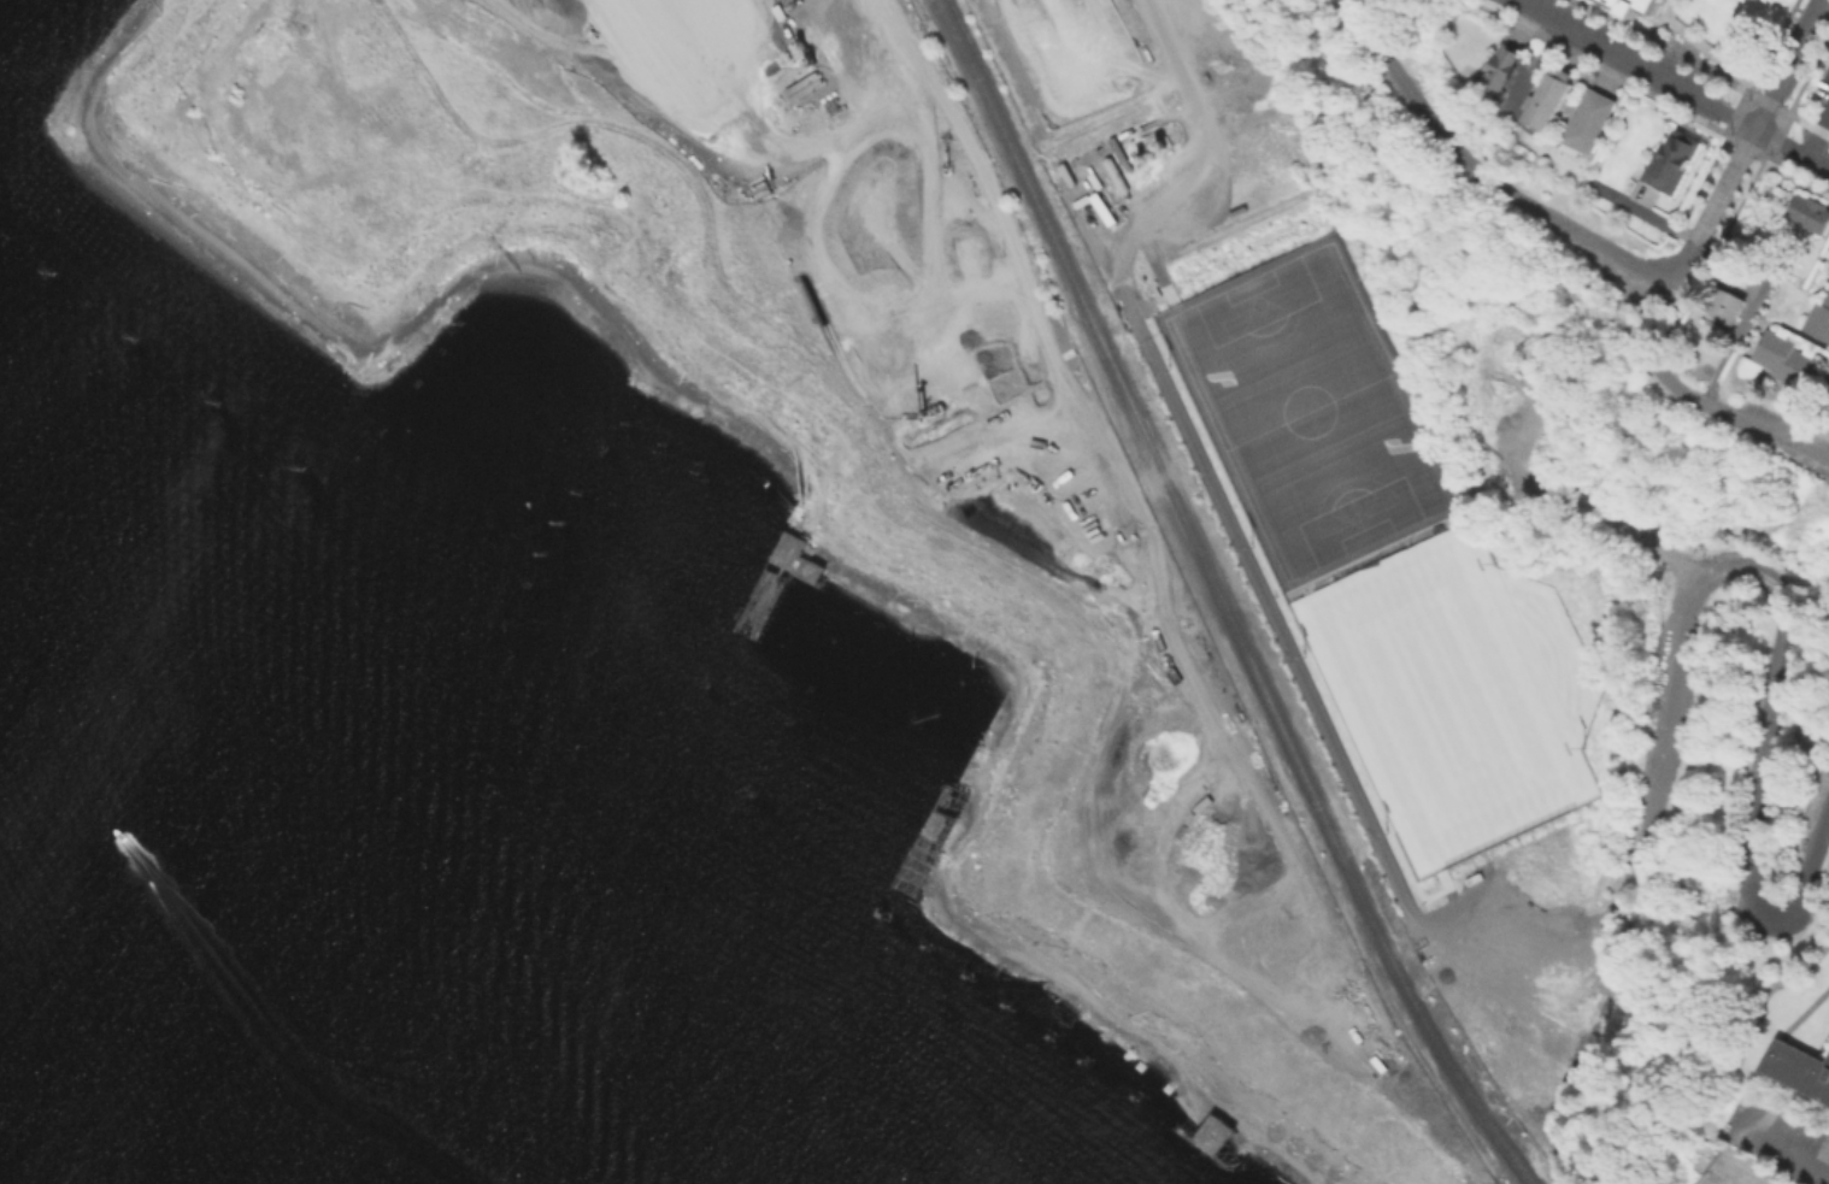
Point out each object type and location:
building: (1631, 6)
road: (1669, 8)
road: (1651, 16)
road: (1711, 53)
building: (1500, 66)
road: (1670, 83)
road: (1746, 92)
building: (1548, 96)
road: (1760, 118)
building: (1586, 119)
road: (1818, 136)
building: (1669, 159)
road: (1480, 166)
building: (1810, 214)
road: (1674, 225)
road: (1682, 258)
building: (1727, 308)
road: (1652, 312)
building: (1819, 317)
road: (1049, 341)
building: (1788, 361)
building: (1827, 396)
road: (1731, 414)
park: (1306, 425)
road: (1198, 458)
road: (1699, 584)
railway: (1222, 599)
road: (1201, 601)
park: (1437, 711)
road: (1807, 873)
road: (1507, 888)
road: (1752, 906)
parking lot: (1518, 960)
road: (1513, 962)
road: (1804, 1012)
road: (1498, 1045)
building: (1799, 1067)
river: (102, 1086)
road: (1783, 1142)
park: (1731, 1173)
building: (1740, 1178)

